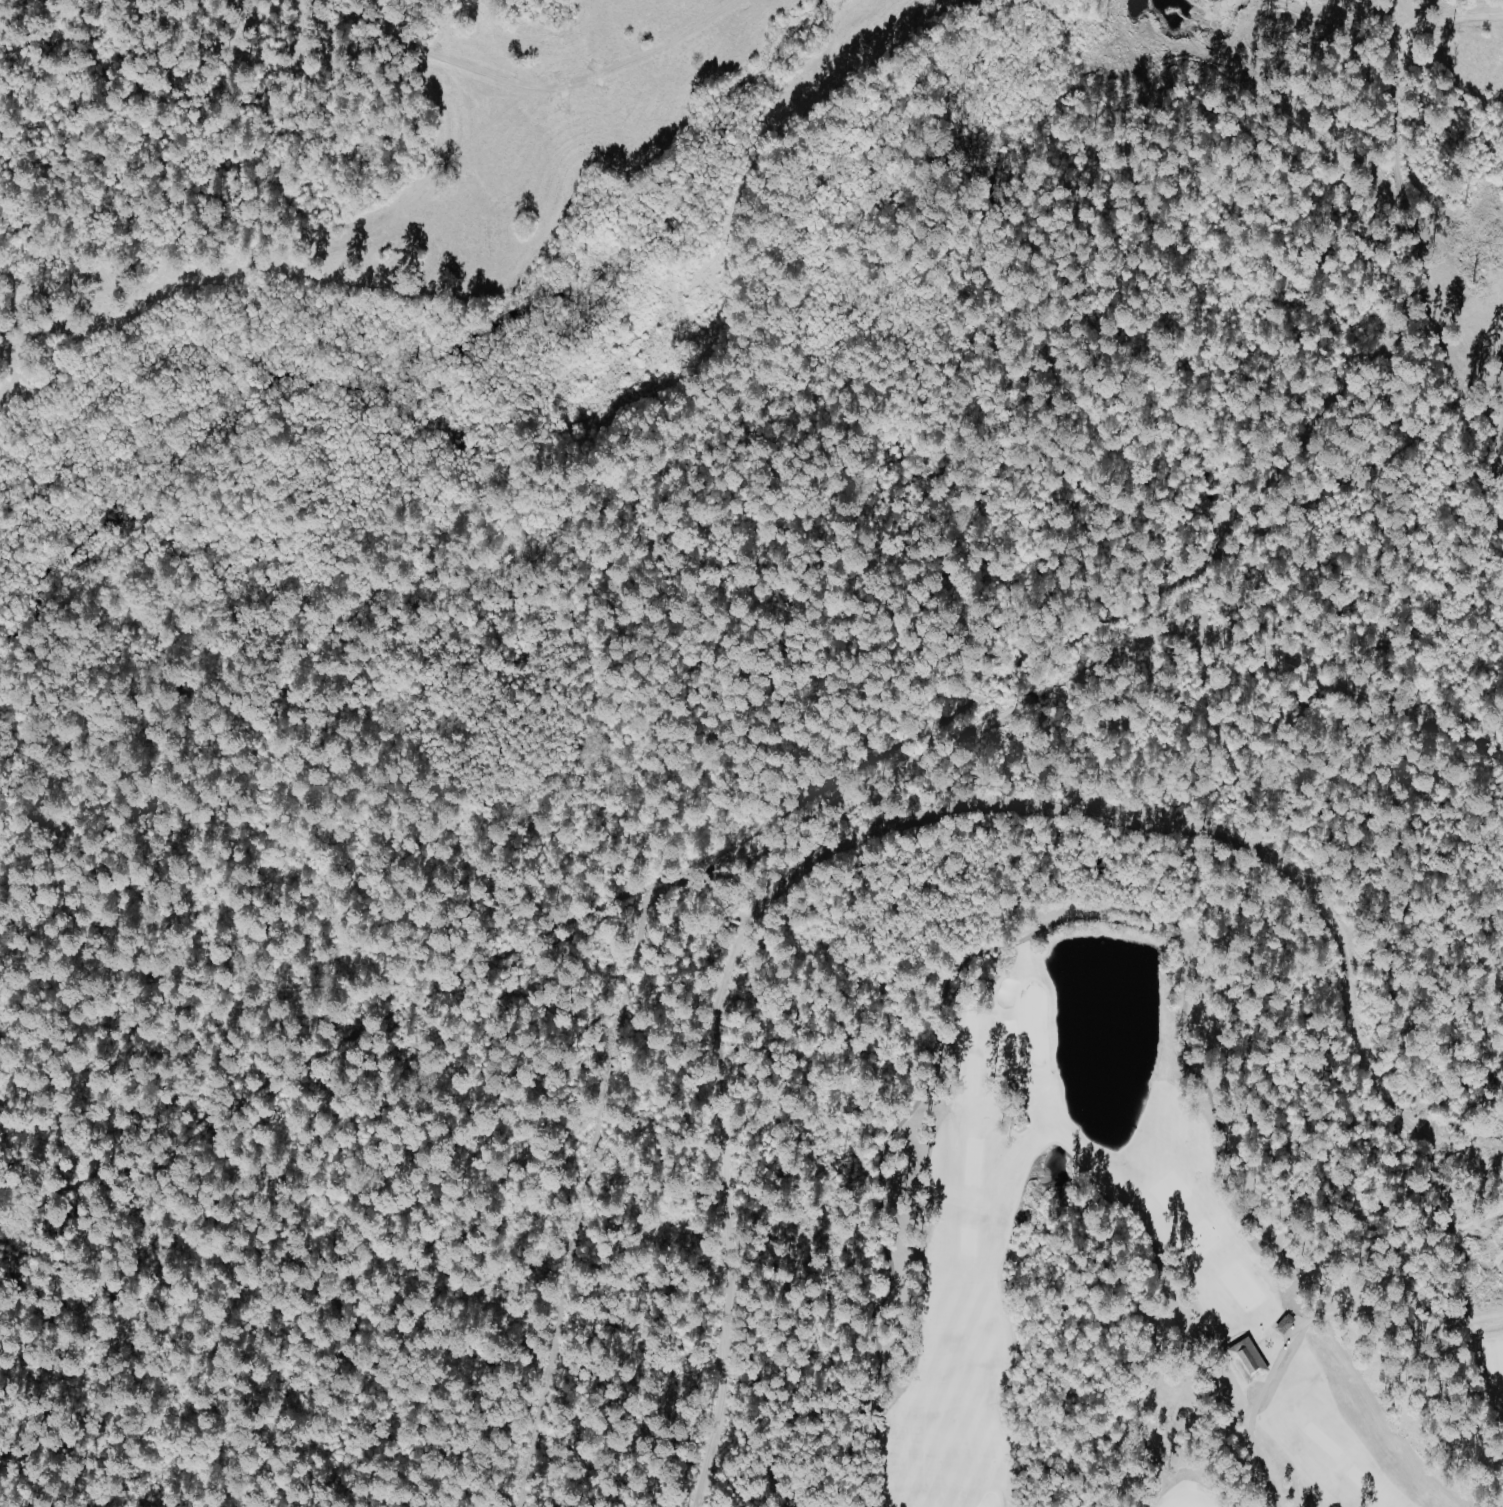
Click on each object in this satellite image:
road: (918, 93)
park: (912, 1202)
park: (1339, 1208)
building: (1290, 1328)
park: (1097, 1349)
building: (1249, 1359)

